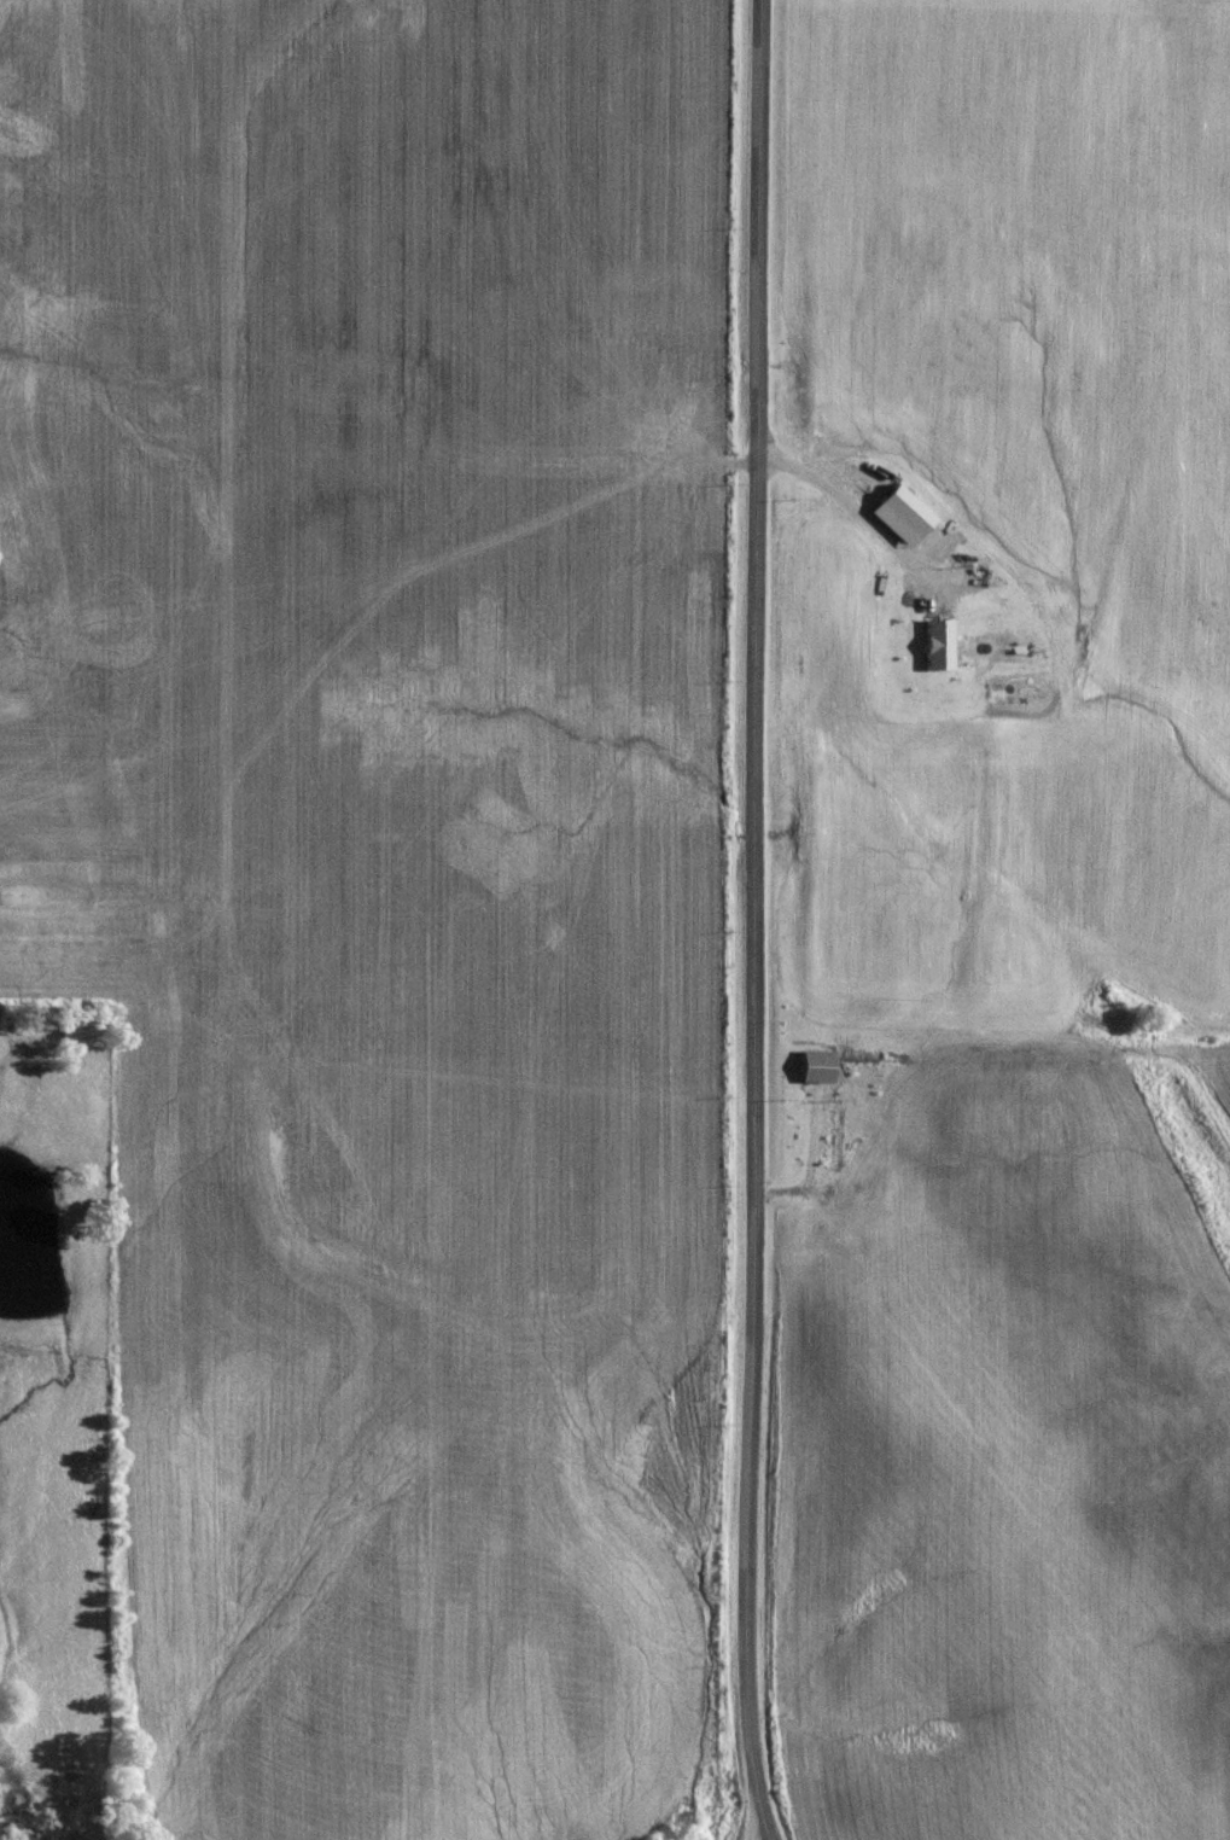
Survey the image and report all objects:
road: (740, 926)
road: (729, 1765)

